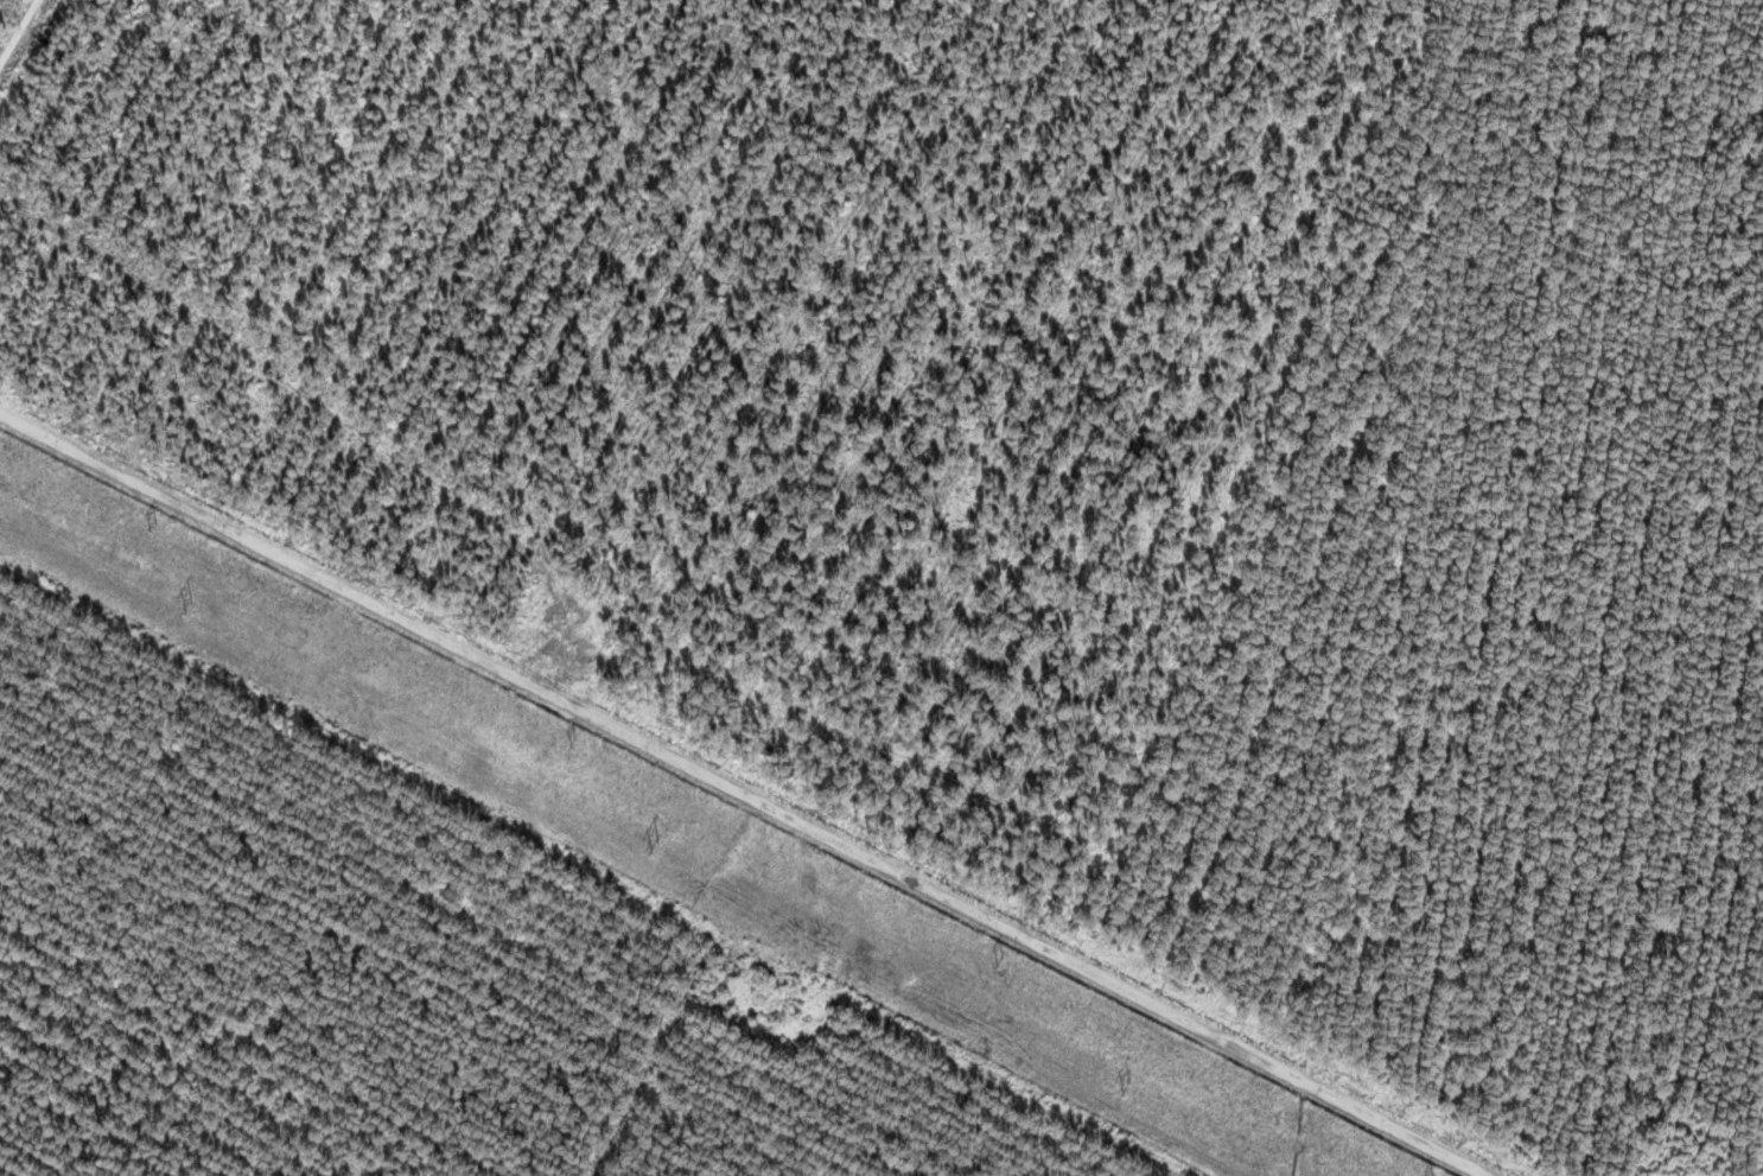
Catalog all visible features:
power tower: (157, 517)
power tower: (190, 606)
power tower: (575, 738)
road: (734, 792)
power tower: (655, 845)
power tower: (1001, 956)
power tower: (1125, 1085)
road: (1758, 1138)

